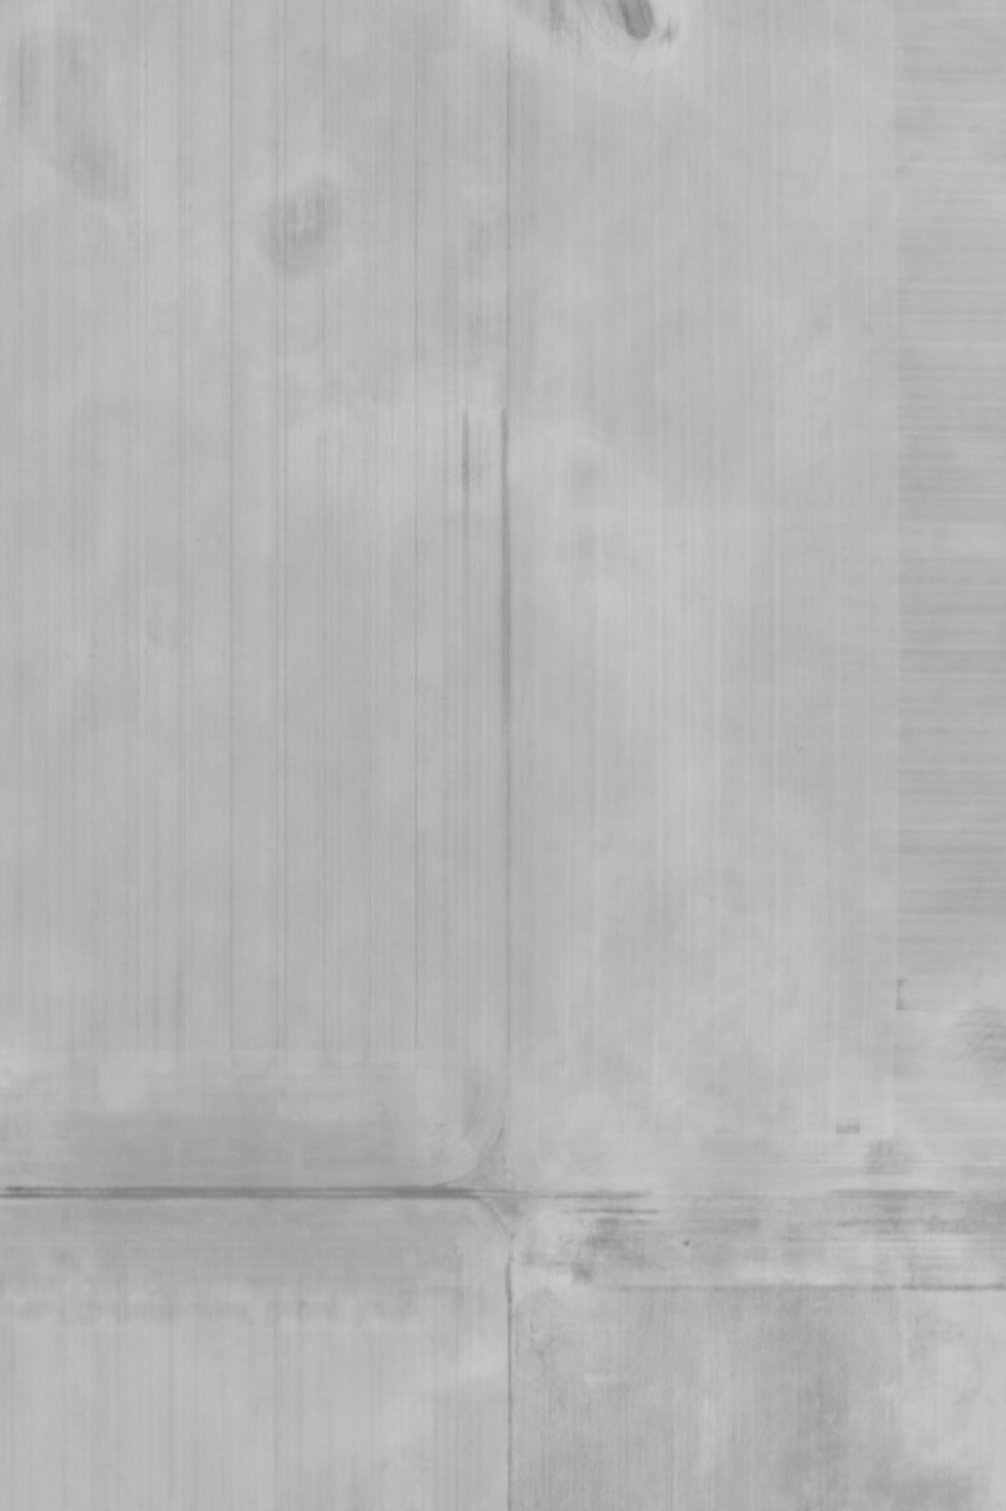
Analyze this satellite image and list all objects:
road: (503, 1194)

